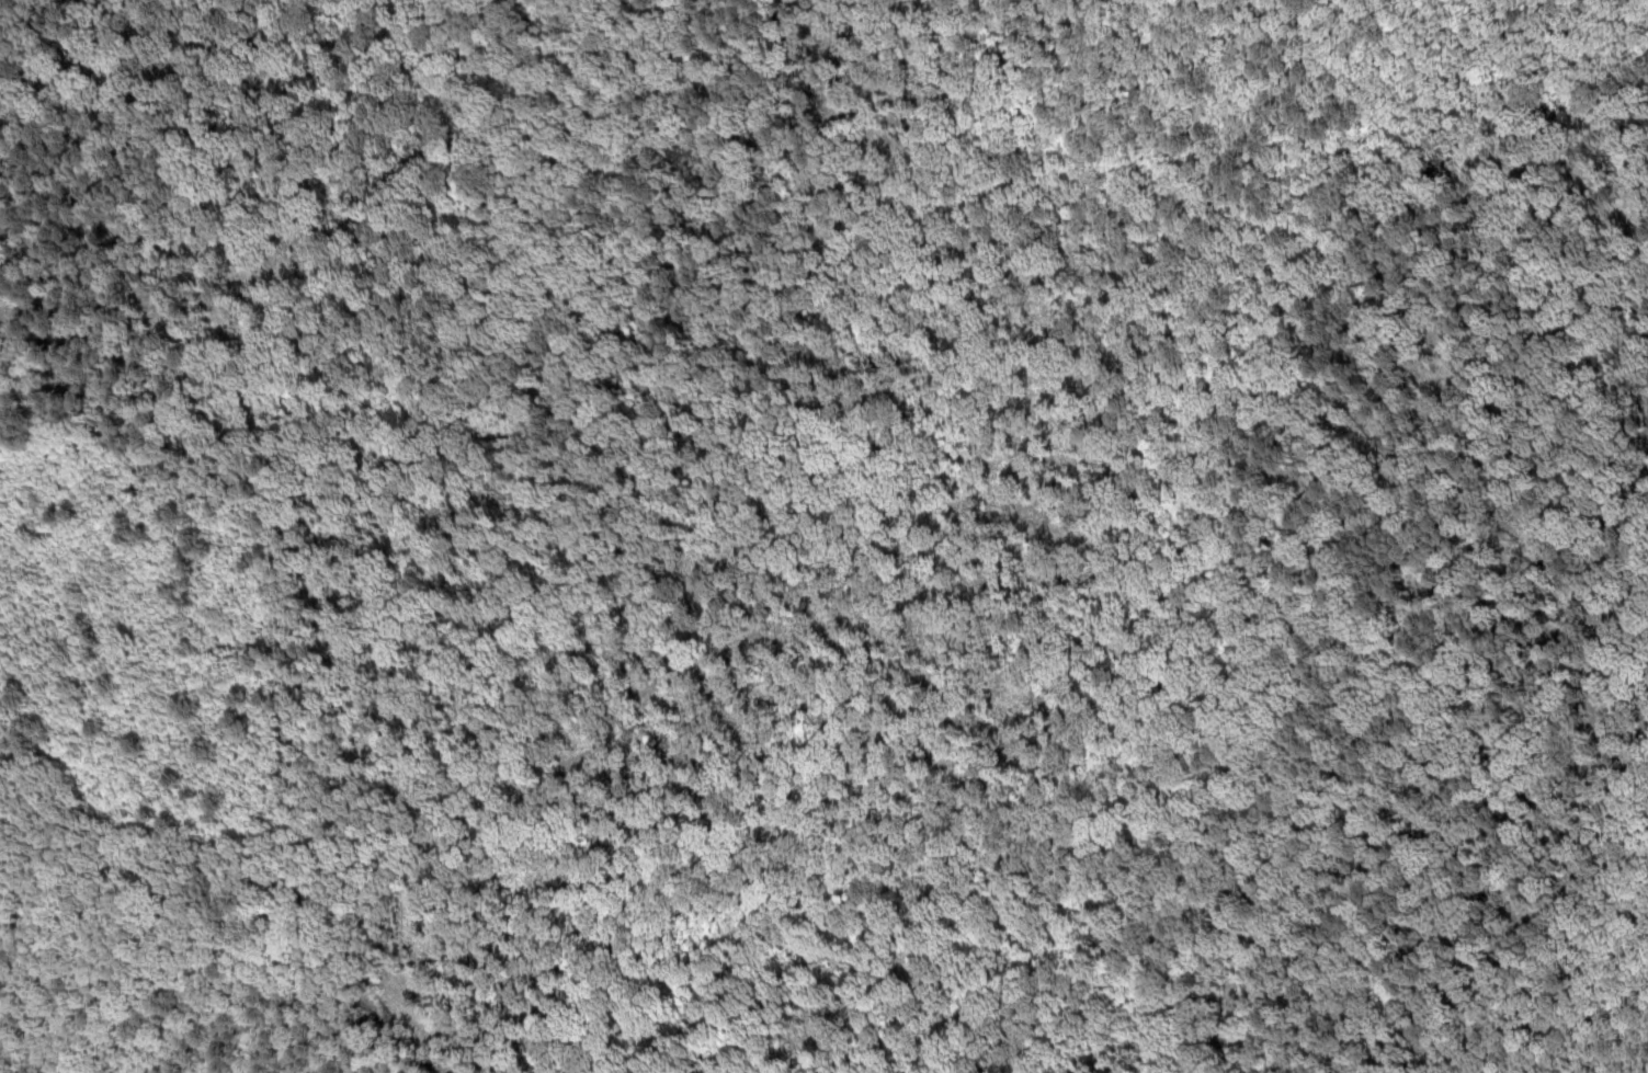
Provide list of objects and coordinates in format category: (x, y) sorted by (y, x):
road: (1519, 1016)

